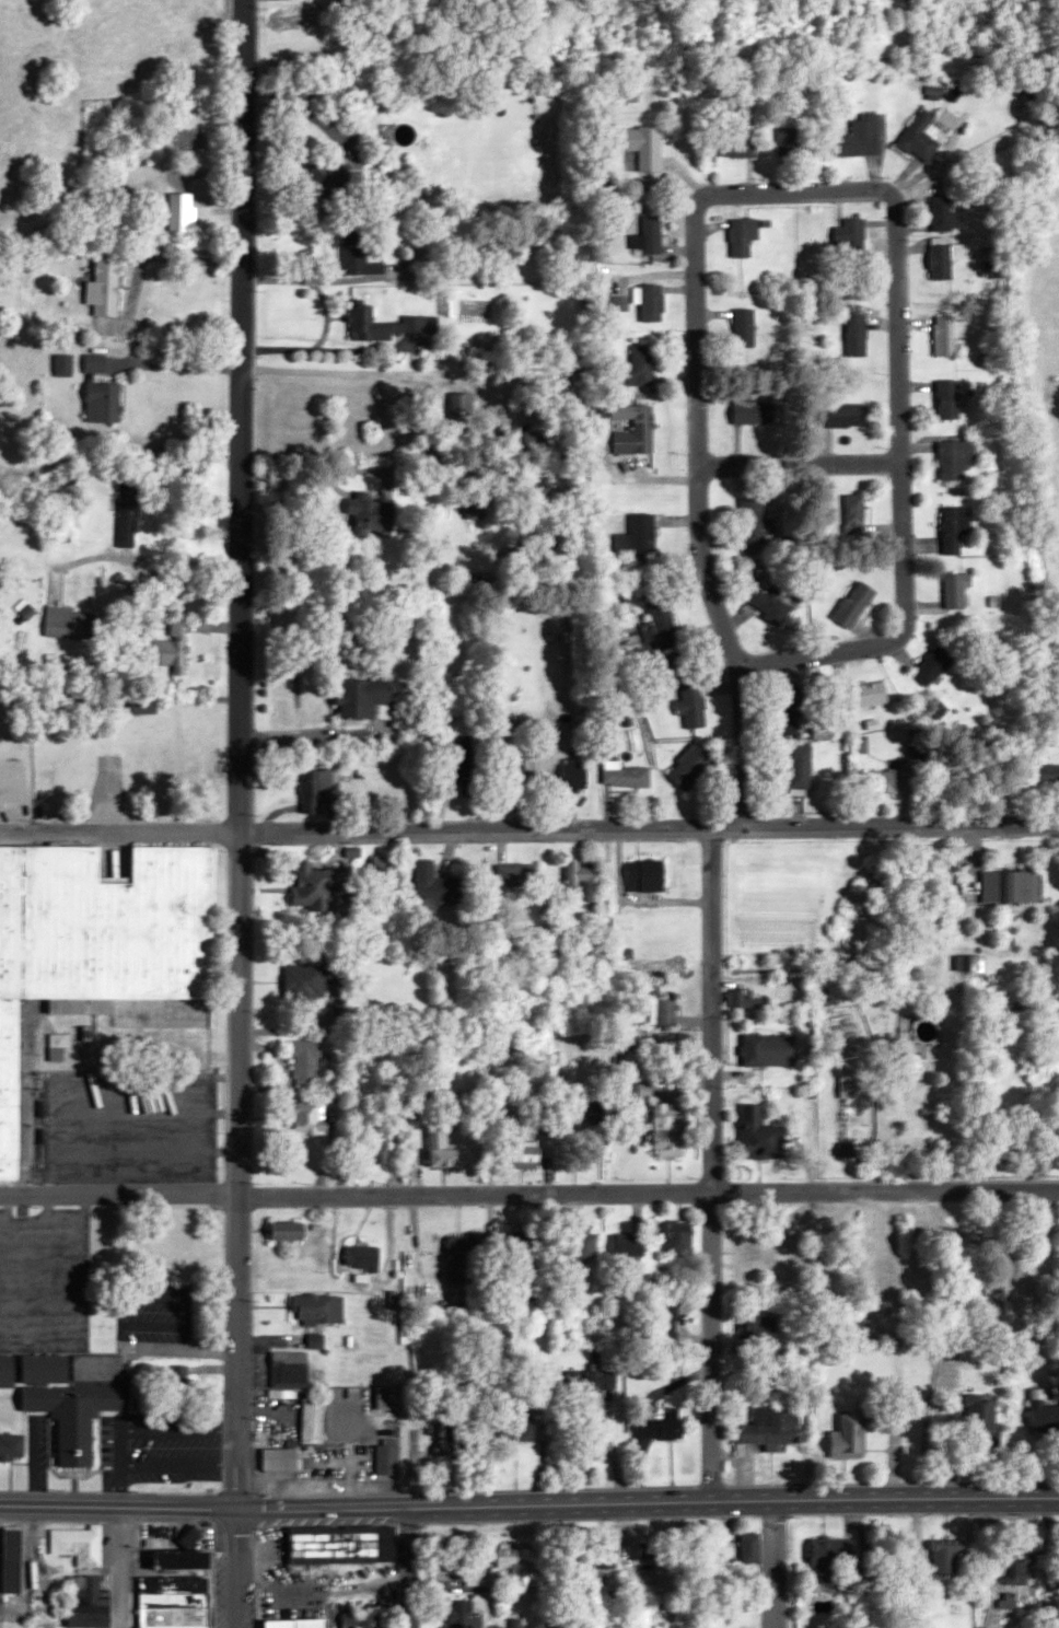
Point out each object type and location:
building: (296, 93)
building: (921, 136)
building: (859, 137)
building: (794, 143)
building: (644, 146)
building: (734, 146)
building: (329, 178)
building: (181, 213)
building: (942, 213)
building: (648, 234)
building: (742, 235)
building: (849, 237)
building: (357, 253)
road: (143, 256)
building: (944, 258)
road: (368, 277)
building: (104, 287)
building: (651, 301)
building: (382, 324)
building: (744, 327)
building: (856, 330)
building: (945, 335)
building: (95, 362)
building: (62, 364)
building: (641, 364)
road: (175, 367)
road: (357, 372)
building: (566, 394)
building: (947, 399)
road: (897, 400)
building: (103, 402)
building: (462, 402)
building: (752, 409)
building: (846, 415)
building: (633, 429)
building: (533, 441)
building: (955, 458)
road: (799, 464)
building: (473, 509)
building: (127, 513)
building: (370, 513)
building: (853, 513)
road: (700, 515)
building: (754, 521)
building: (954, 527)
building: (637, 539)
road: (132, 558)
building: (955, 590)
building: (772, 594)
building: (854, 604)
building: (68, 623)
building: (659, 628)
building: (172, 647)
building: (933, 664)
building: (862, 695)
building: (368, 697)
building: (142, 703)
building: (691, 705)
building: (784, 709)
road: (237, 754)
building: (690, 766)
building: (799, 767)
building: (463, 772)
building: (573, 775)
building: (624, 775)
building: (1048, 775)
building: (515, 776)
building: (896, 780)
building: (315, 789)
road: (648, 828)
road: (118, 832)
building: (515, 874)
building: (645, 875)
building: (583, 881)
building: (435, 886)
building: (1010, 886)
building: (319, 887)
building: (98, 952)
building: (309, 979)
building: (743, 999)
building: (665, 1011)
building: (671, 1040)
building: (57, 1046)
building: (753, 1051)
building: (304, 1062)
building: (1037, 1070)
building: (598, 1113)
building: (306, 1119)
building: (671, 1130)
building: (761, 1137)
building: (373, 1143)
building: (442, 1149)
building: (520, 1149)
road: (711, 1163)
road: (529, 1189)
building: (287, 1230)
building: (677, 1236)
building: (582, 1245)
building: (626, 1246)
building: (521, 1247)
building: (749, 1253)
building: (464, 1255)
building: (368, 1256)
building: (888, 1274)
building: (317, 1307)
building: (998, 1307)
building: (666, 1319)
building: (757, 1326)
building: (315, 1341)
building: (289, 1370)
building: (7, 1372)
building: (601, 1381)
building: (178, 1386)
building: (73, 1397)
building: (386, 1398)
building: (1045, 1417)
building: (312, 1421)
building: (981, 1423)
building: (661, 1427)
building: (519, 1428)
building: (770, 1428)
building: (850, 1435)
building: (451, 1438)
building: (11, 1446)
building: (280, 1460)
building: (386, 1460)
building: (184, 1486)
road: (648, 1500)
road: (118, 1509)
building: (78, 1544)
building: (342, 1545)
building: (749, 1548)
building: (653, 1550)
building: (604, 1557)
building: (12, 1560)
building: (183, 1560)
building: (828, 1560)
road: (772, 1563)
building: (517, 1566)
road: (408, 1568)
building: (943, 1568)
road: (118, 1569)
road: (238, 1569)
building: (1015, 1578)
building: (175, 1602)
building: (464, 1615)
building: (89, 1619)
building: (362, 1620)
building: (296, 1624)

